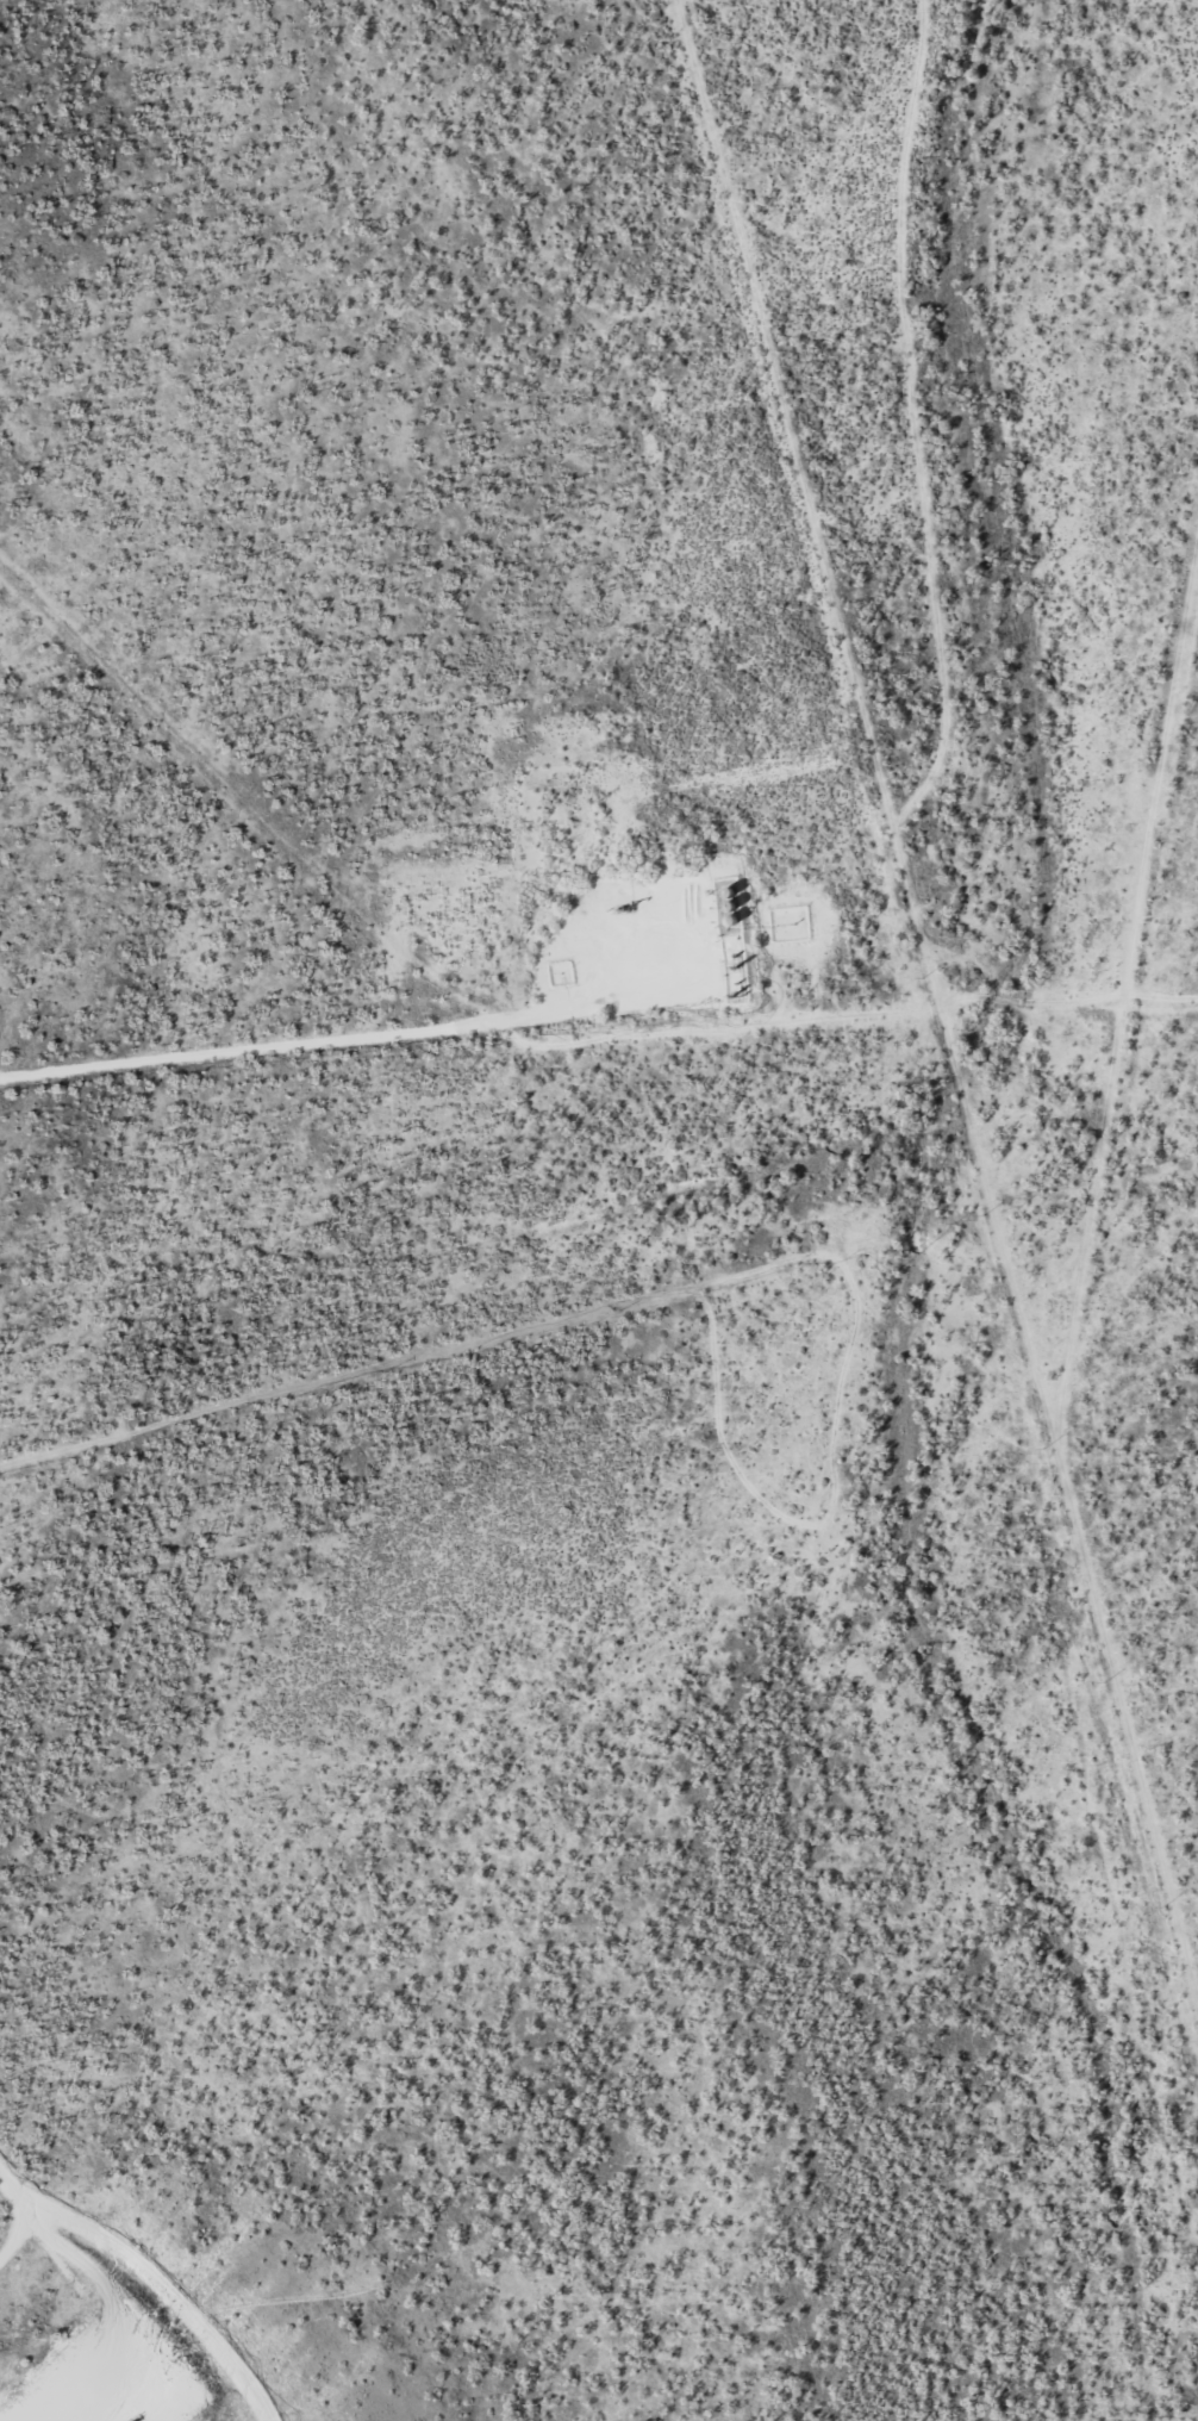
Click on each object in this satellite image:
road: (135, 1028)
road: (1118, 1327)
road: (208, 2224)

